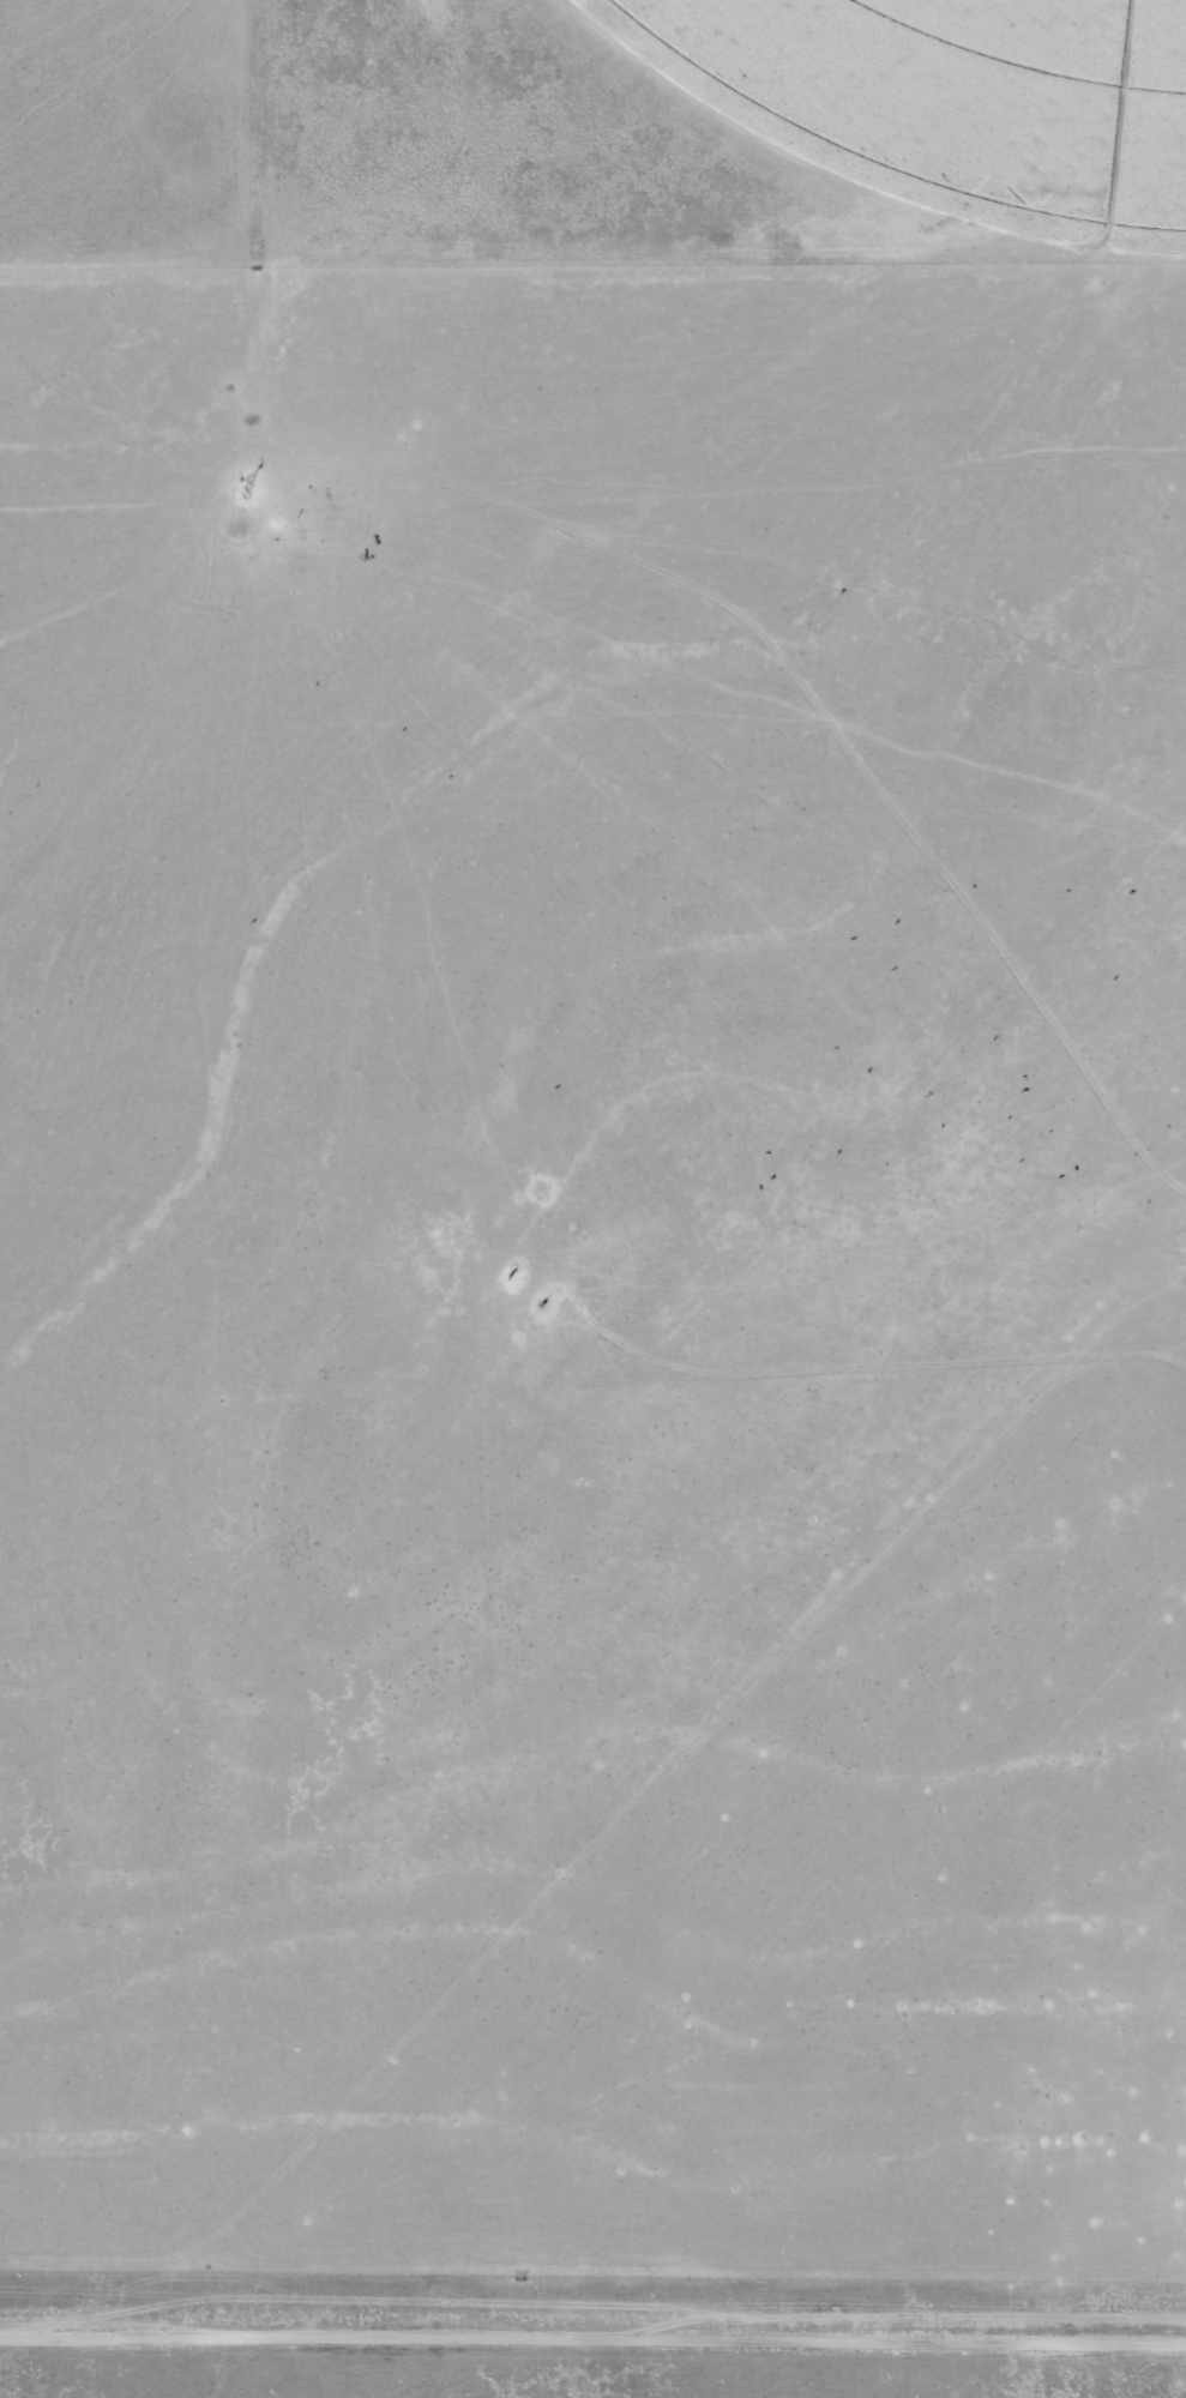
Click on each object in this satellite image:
road: (592, 2310)

